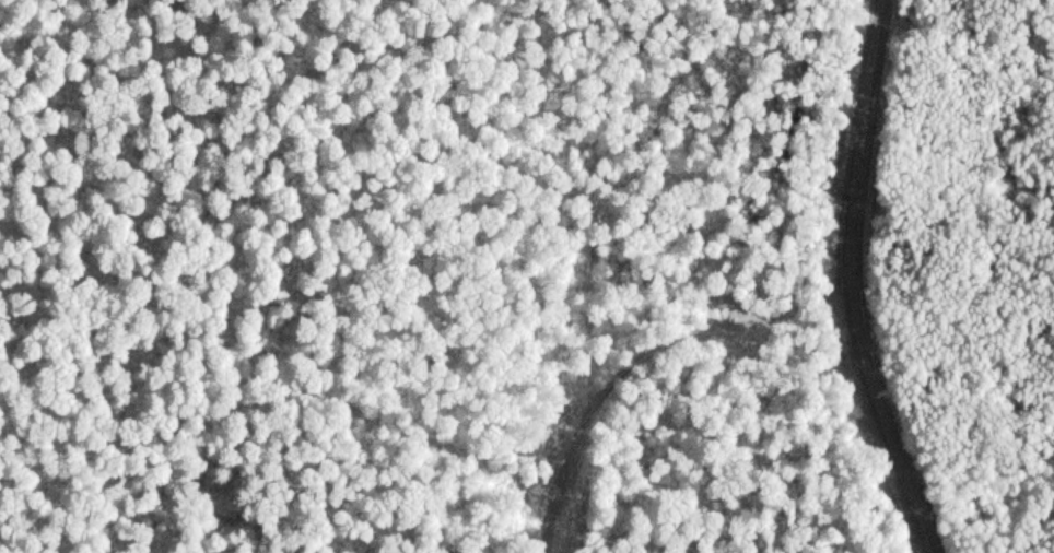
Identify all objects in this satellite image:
road: (852, 280)

